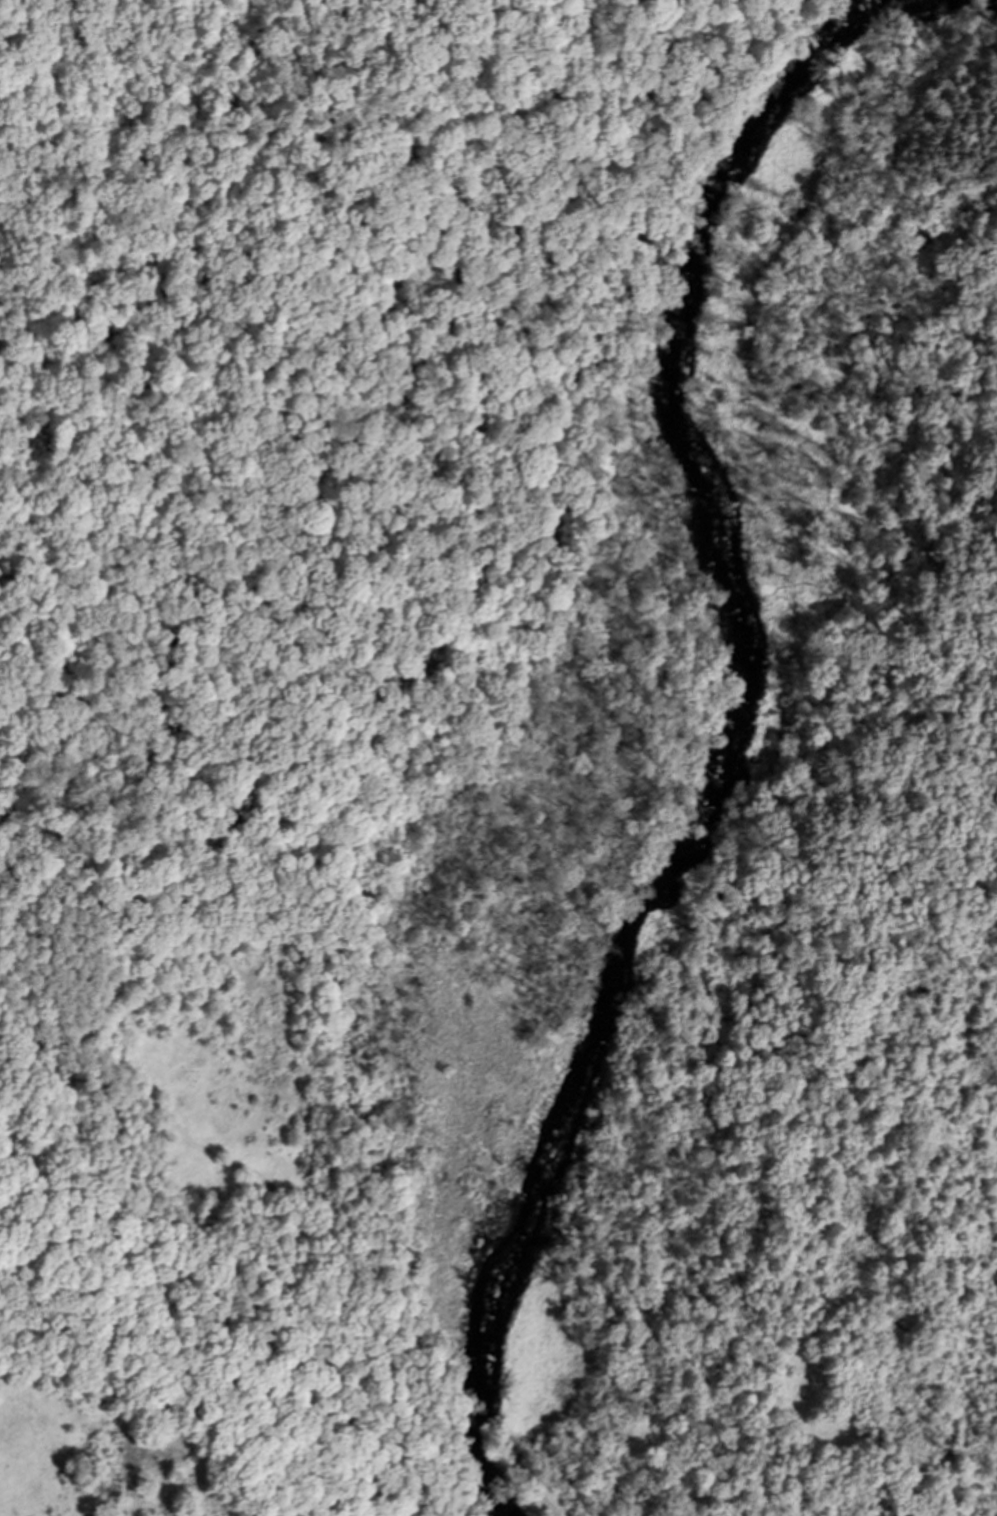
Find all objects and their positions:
road: (865, 342)
river: (746, 699)
road: (298, 1201)

